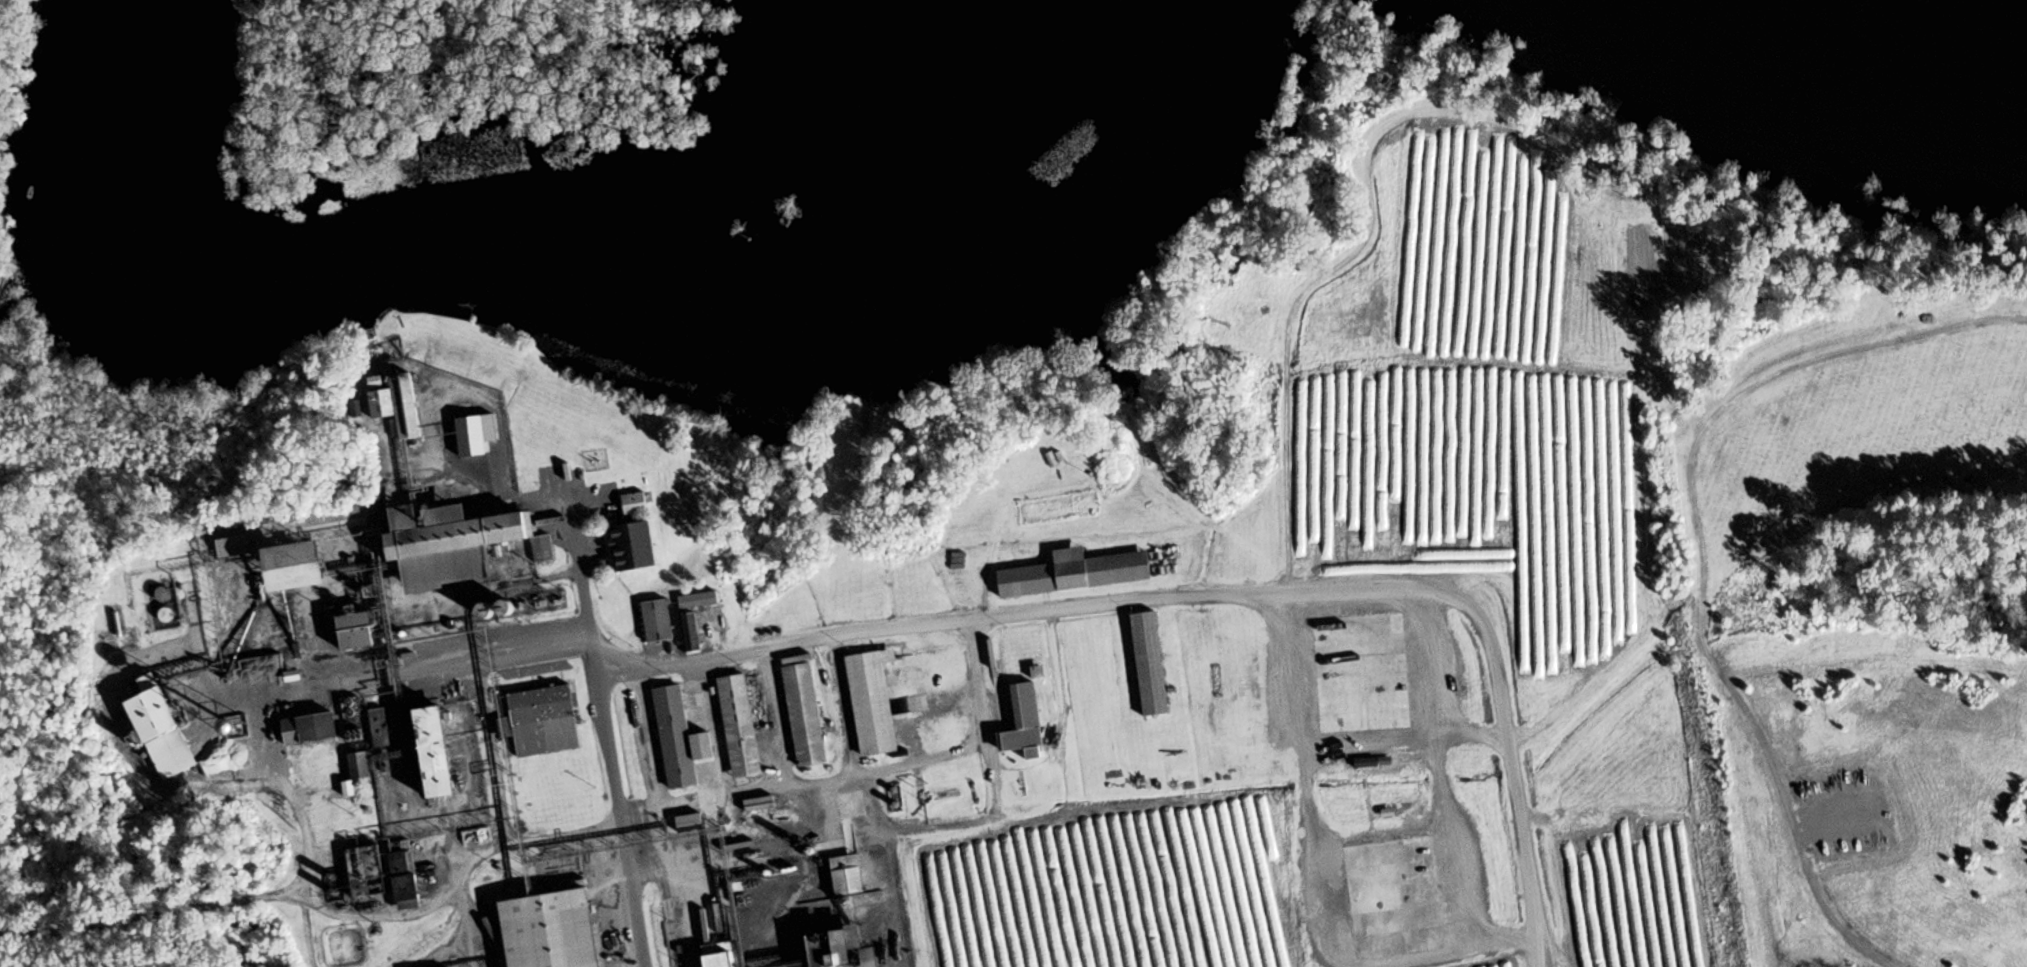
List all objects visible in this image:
park: (459, 69)
building: (397, 404)
building: (474, 438)
building: (1026, 468)
building: (633, 502)
building: (1057, 508)
building: (631, 546)
building: (539, 553)
building: (443, 556)
building: (294, 566)
wastewater plant: (285, 567)
building: (1072, 573)
road: (1340, 594)
building: (698, 599)
wastewater plant: (125, 614)
building: (657, 620)
wastewater plant: (202, 626)
building: (352, 626)
building: (690, 630)
building: (1356, 634)
building: (1033, 653)
building: (1146, 668)
building: (1089, 670)
building: (937, 691)
building: (870, 702)
building: (802, 713)
building: (351, 721)
building: (539, 721)
building: (738, 724)
building: (306, 726)
building: (378, 726)
building: (1022, 729)
road: (602, 732)
building: (678, 737)
building: (431, 760)
building: (357, 764)
road: (801, 781)
building: (684, 821)
road: (1000, 856)
building: (365, 871)
building: (401, 872)
building: (547, 931)
building: (822, 947)
building: (718, 954)
building: (863, 956)

